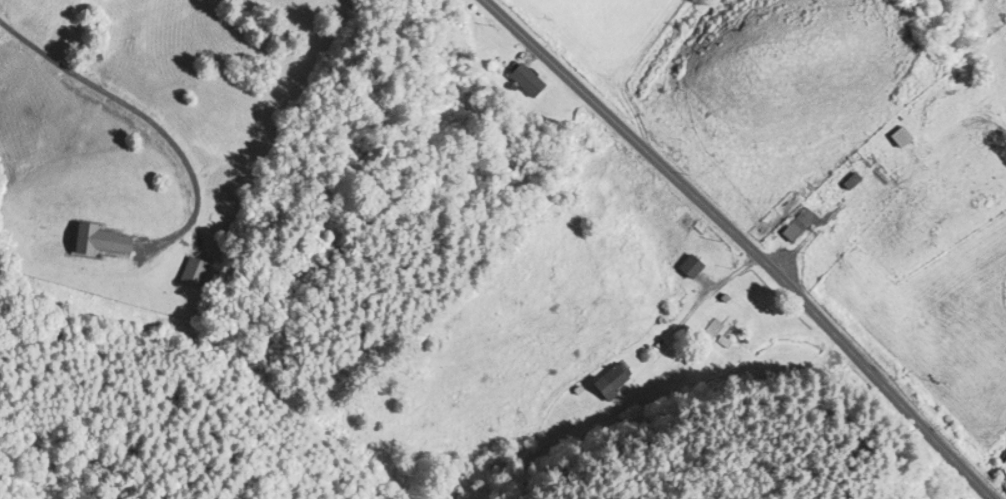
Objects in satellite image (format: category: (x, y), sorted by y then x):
building: (522, 78)
building: (897, 135)
building: (794, 223)
building: (94, 238)
road: (745, 244)
building: (686, 264)
building: (189, 270)
building: (707, 326)
building: (608, 378)

